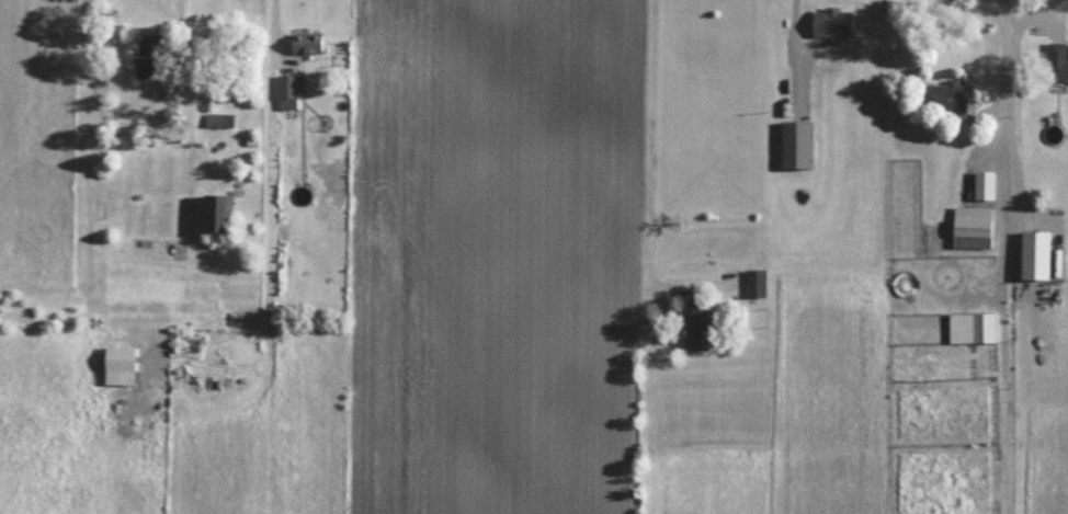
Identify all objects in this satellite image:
road: (1032, 14)
road: (795, 19)
road: (275, 21)
building: (832, 21)
building: (308, 42)
building: (146, 57)
building: (1057, 60)
road: (186, 87)
building: (291, 89)
building: (946, 94)
building: (219, 118)
road: (650, 144)
building: (797, 144)
building: (986, 184)
building: (217, 212)
building: (974, 226)
building: (1036, 253)
road: (1008, 256)
building: (757, 282)
building: (698, 325)
building: (973, 327)
building: (120, 364)

